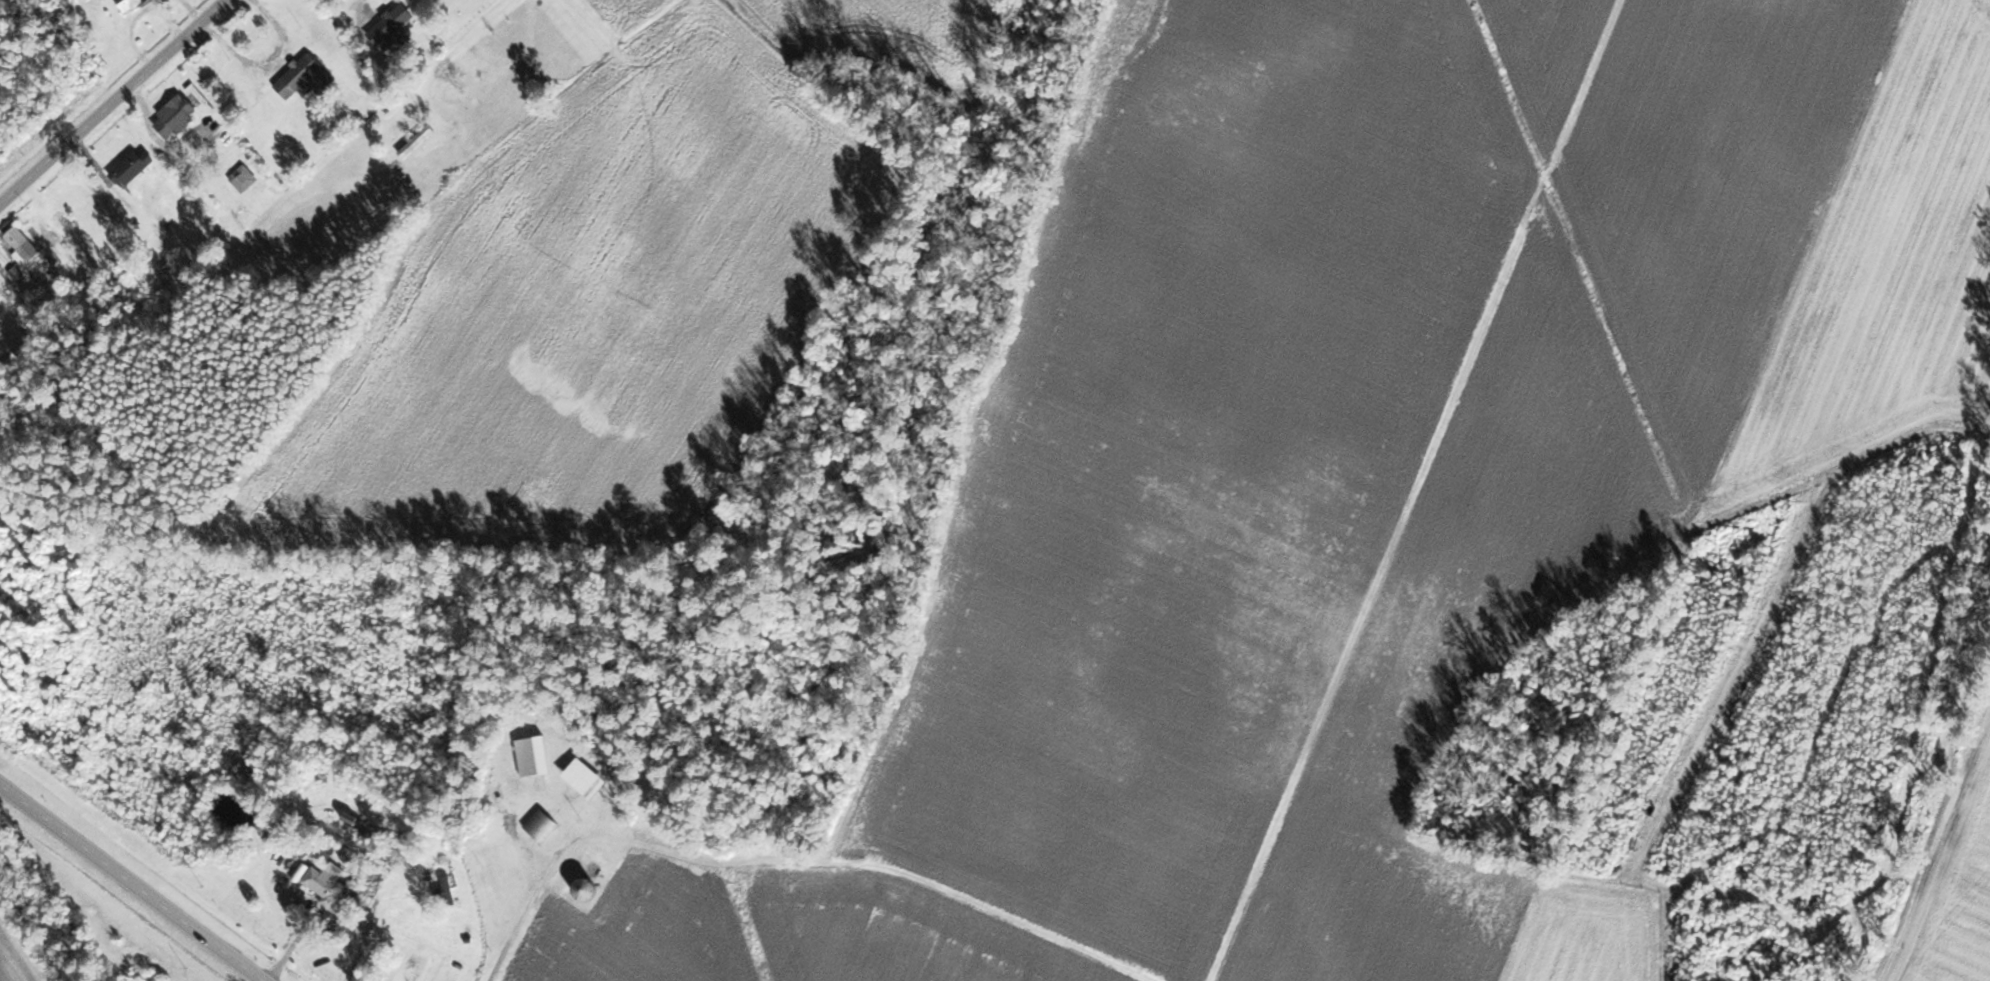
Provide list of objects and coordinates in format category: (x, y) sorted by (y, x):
building: (392, 26)
road: (448, 57)
building: (300, 78)
road: (113, 101)
building: (174, 116)
building: (416, 141)
building: (130, 166)
building: (243, 177)
building: (20, 241)
building: (533, 754)
building: (359, 803)
building: (540, 824)
road: (132, 881)
building: (326, 885)
building: (582, 888)
building: (448, 889)

